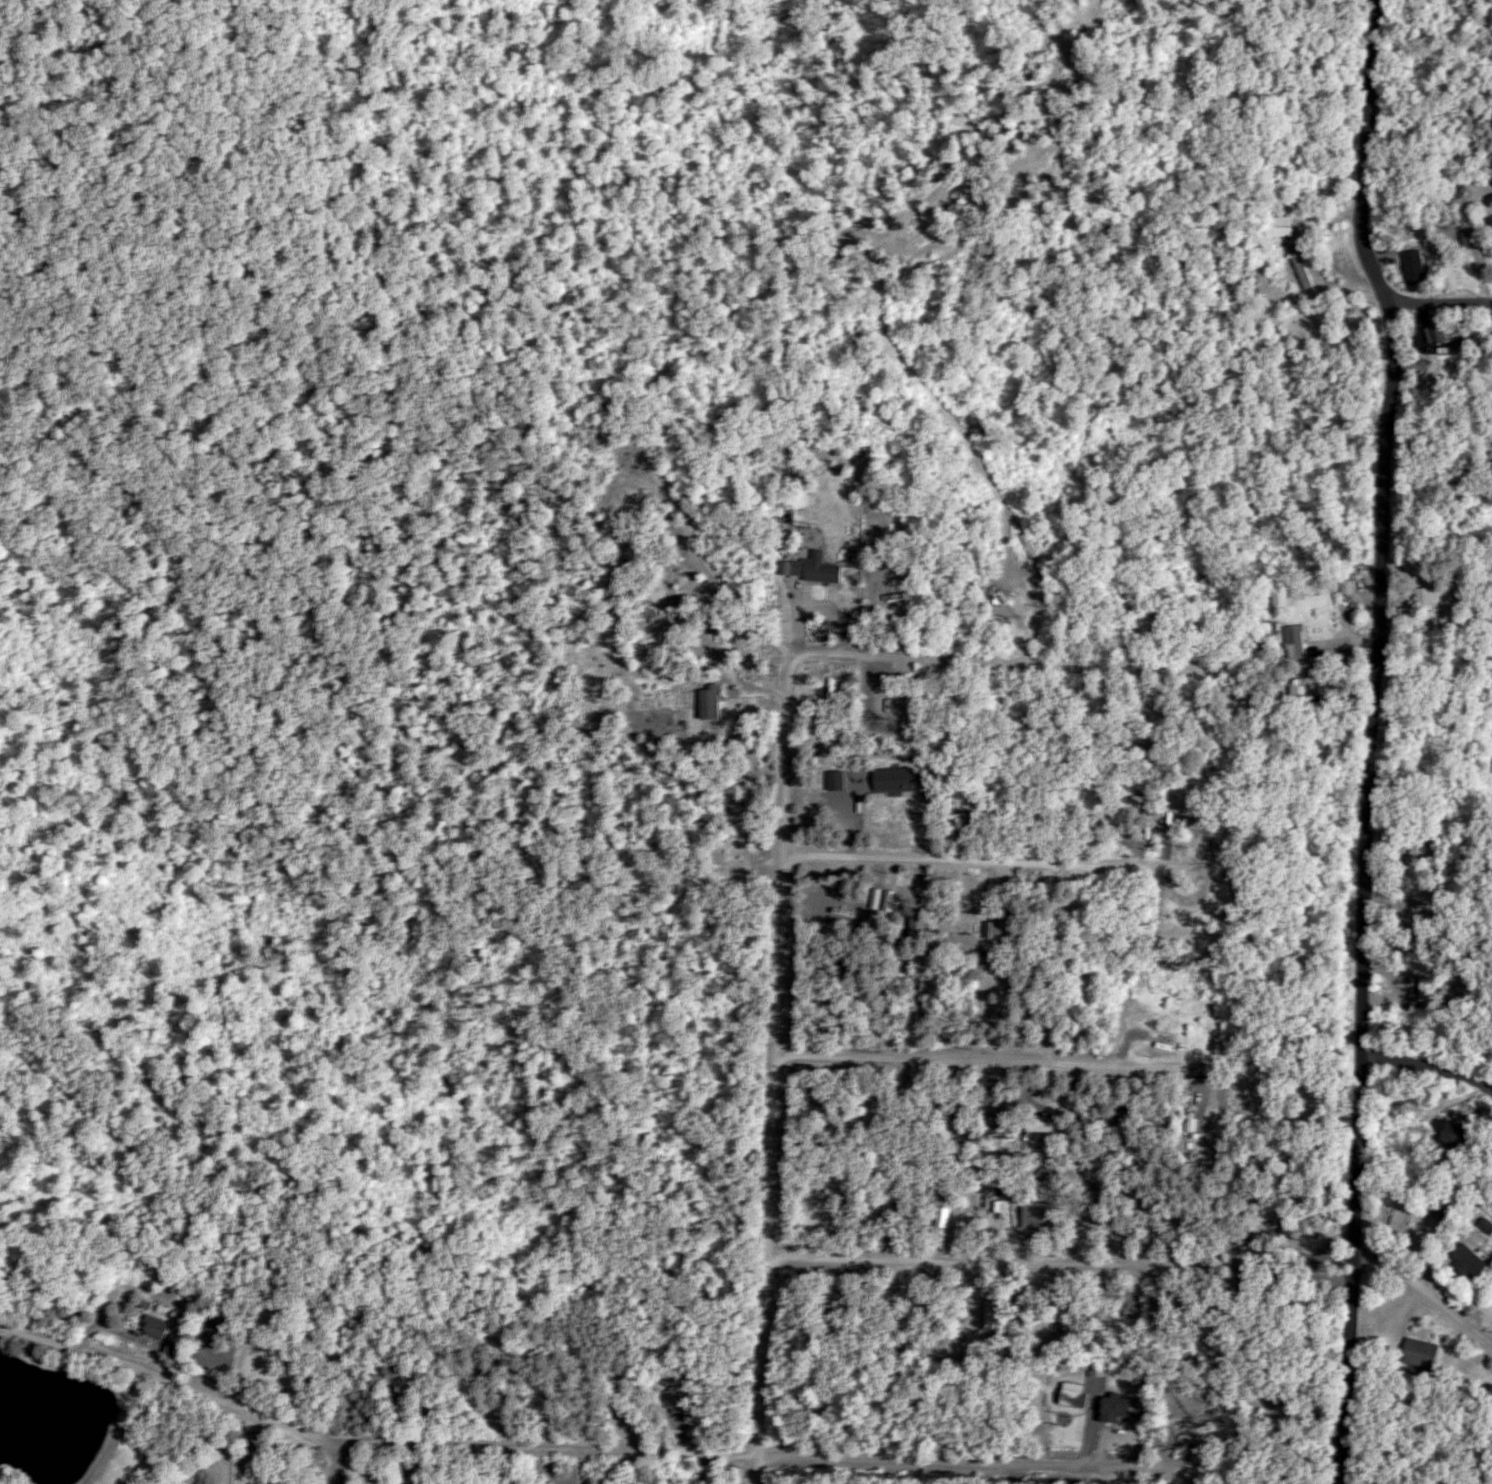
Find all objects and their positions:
building: (1281, 226)
building: (1299, 268)
road: (1441, 310)
building: (1439, 329)
building: (1491, 411)
building: (812, 570)
building: (1343, 586)
building: (1422, 594)
road: (817, 611)
building: (1263, 628)
building: (1291, 641)
road: (720, 653)
road: (1028, 657)
building: (703, 703)
road: (1371, 734)
building: (1490, 761)
road: (1005, 858)
road: (984, 1051)
road: (1428, 1070)
road: (771, 1074)
building: (1016, 1124)
building: (1439, 1130)
building: (991, 1183)
building: (982, 1188)
building: (941, 1215)
building: (1392, 1219)
road: (994, 1259)
building: (1456, 1261)
road: (1424, 1297)
building: (159, 1327)
building: (179, 1349)
building: (1410, 1353)
building: (1069, 1398)
building: (1102, 1410)
road: (581, 1446)
road: (361, 1459)
building: (399, 1482)

